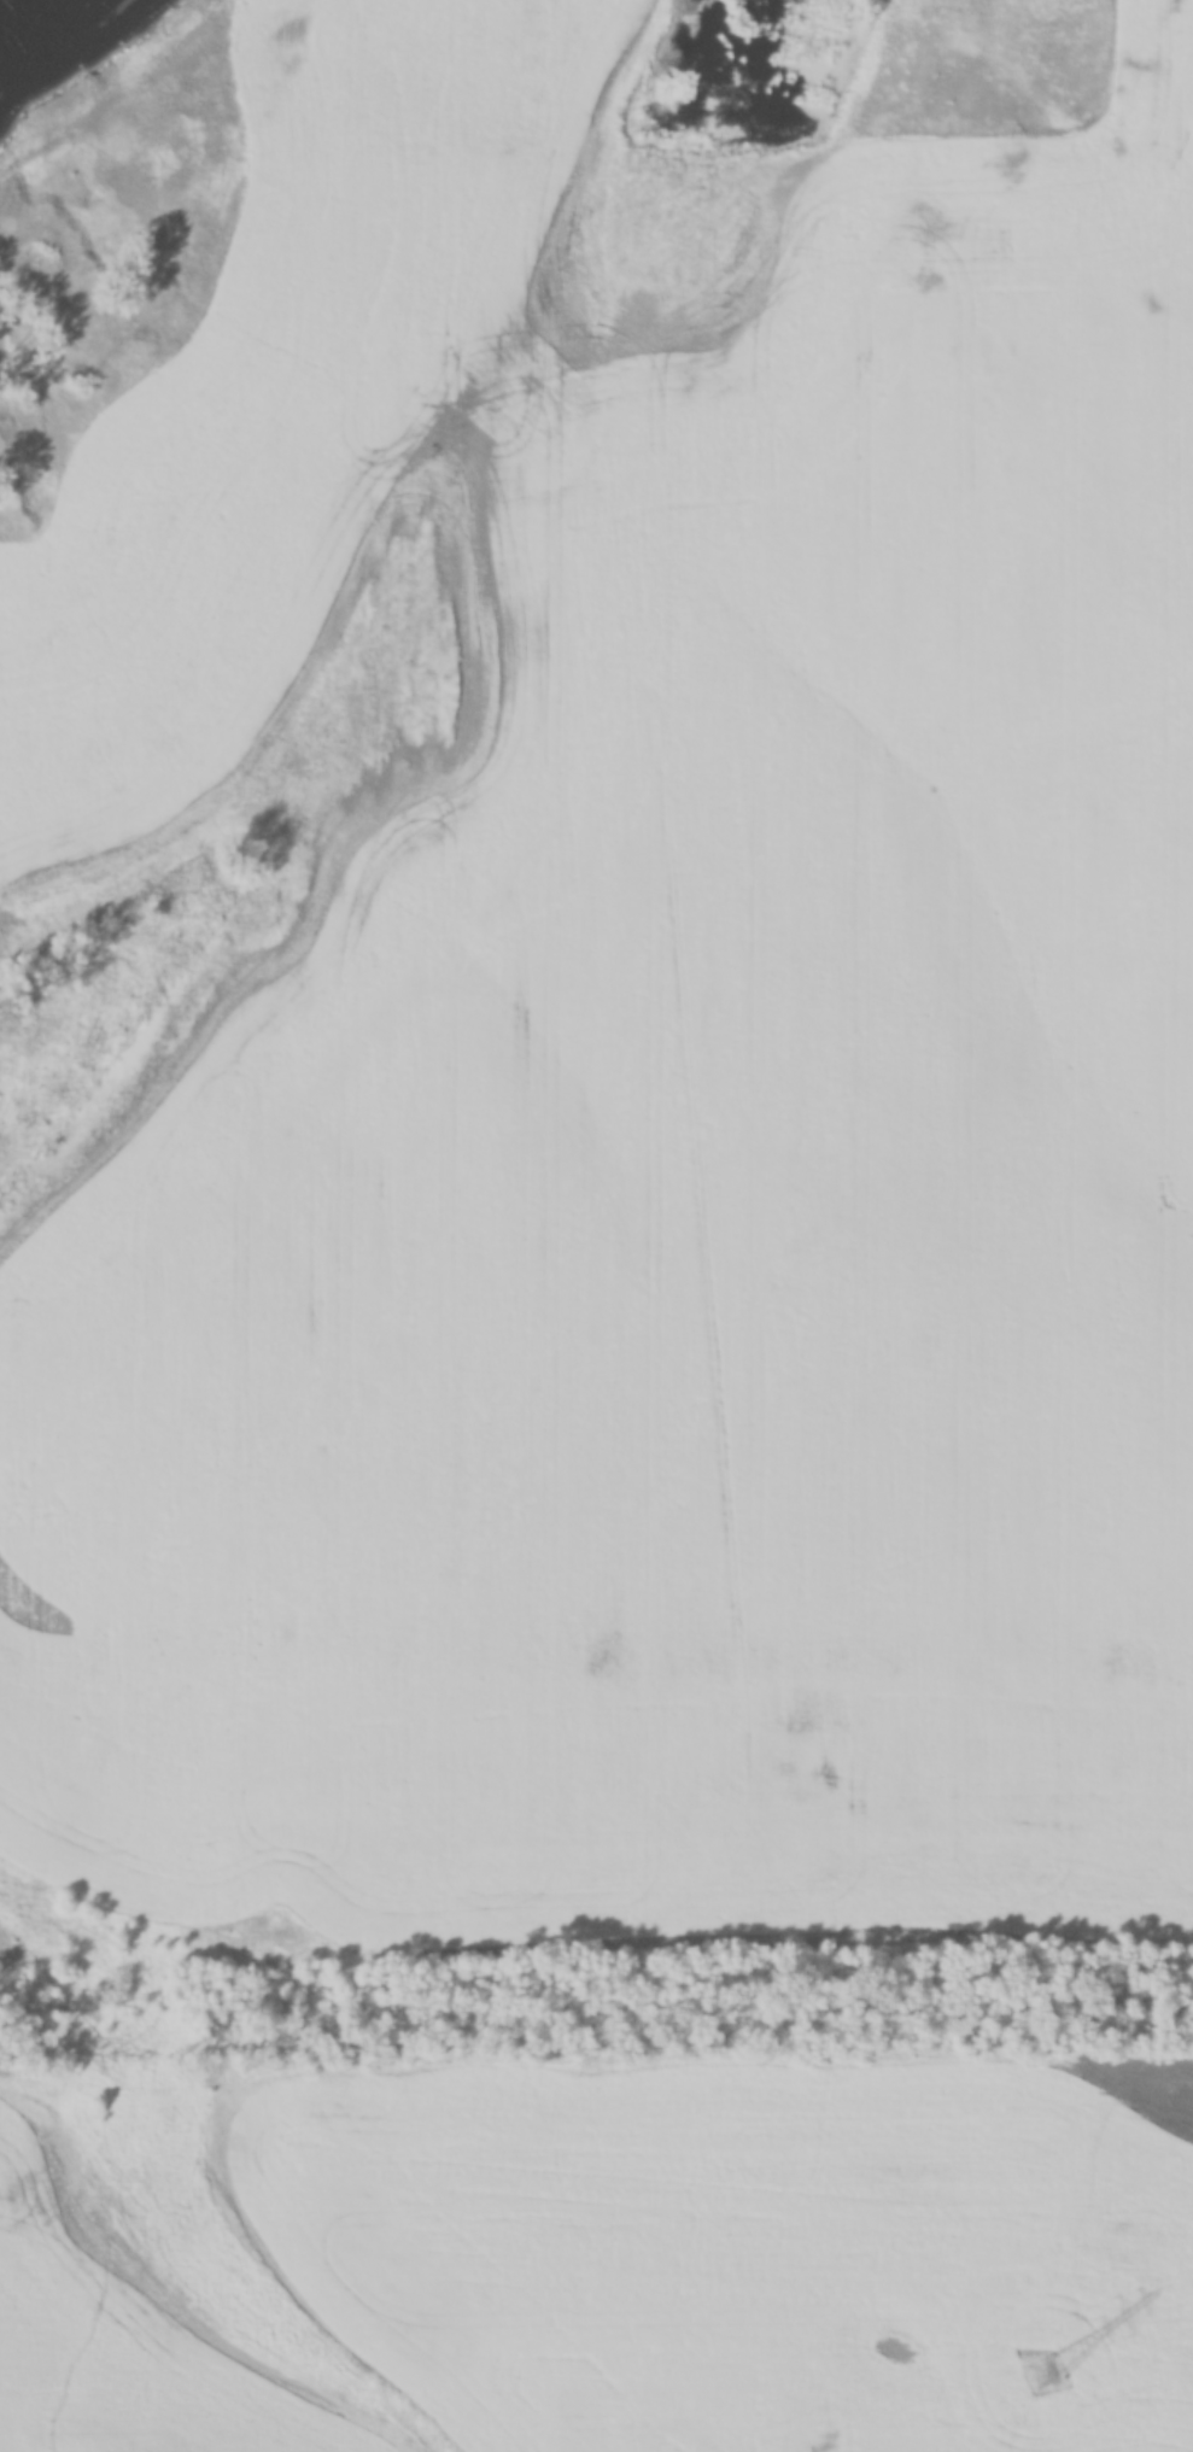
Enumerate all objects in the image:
power tower: (1043, 2376)

